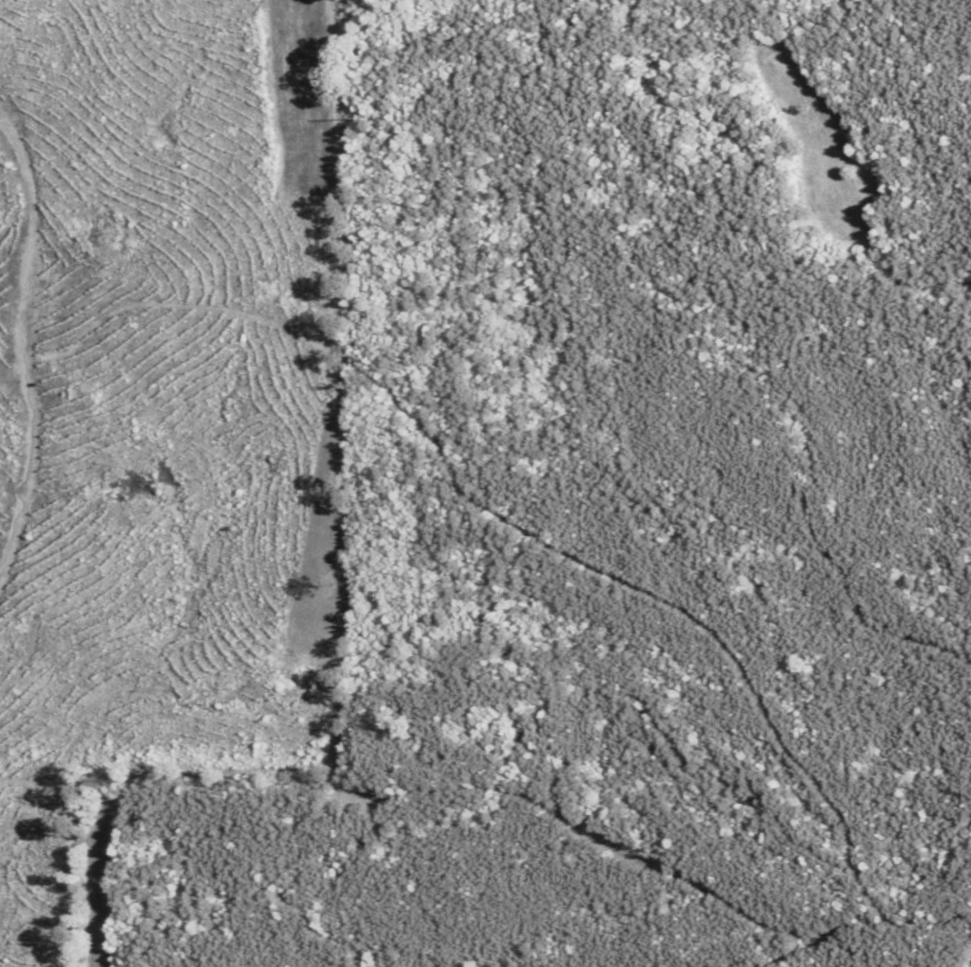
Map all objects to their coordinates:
road: (957, 953)

